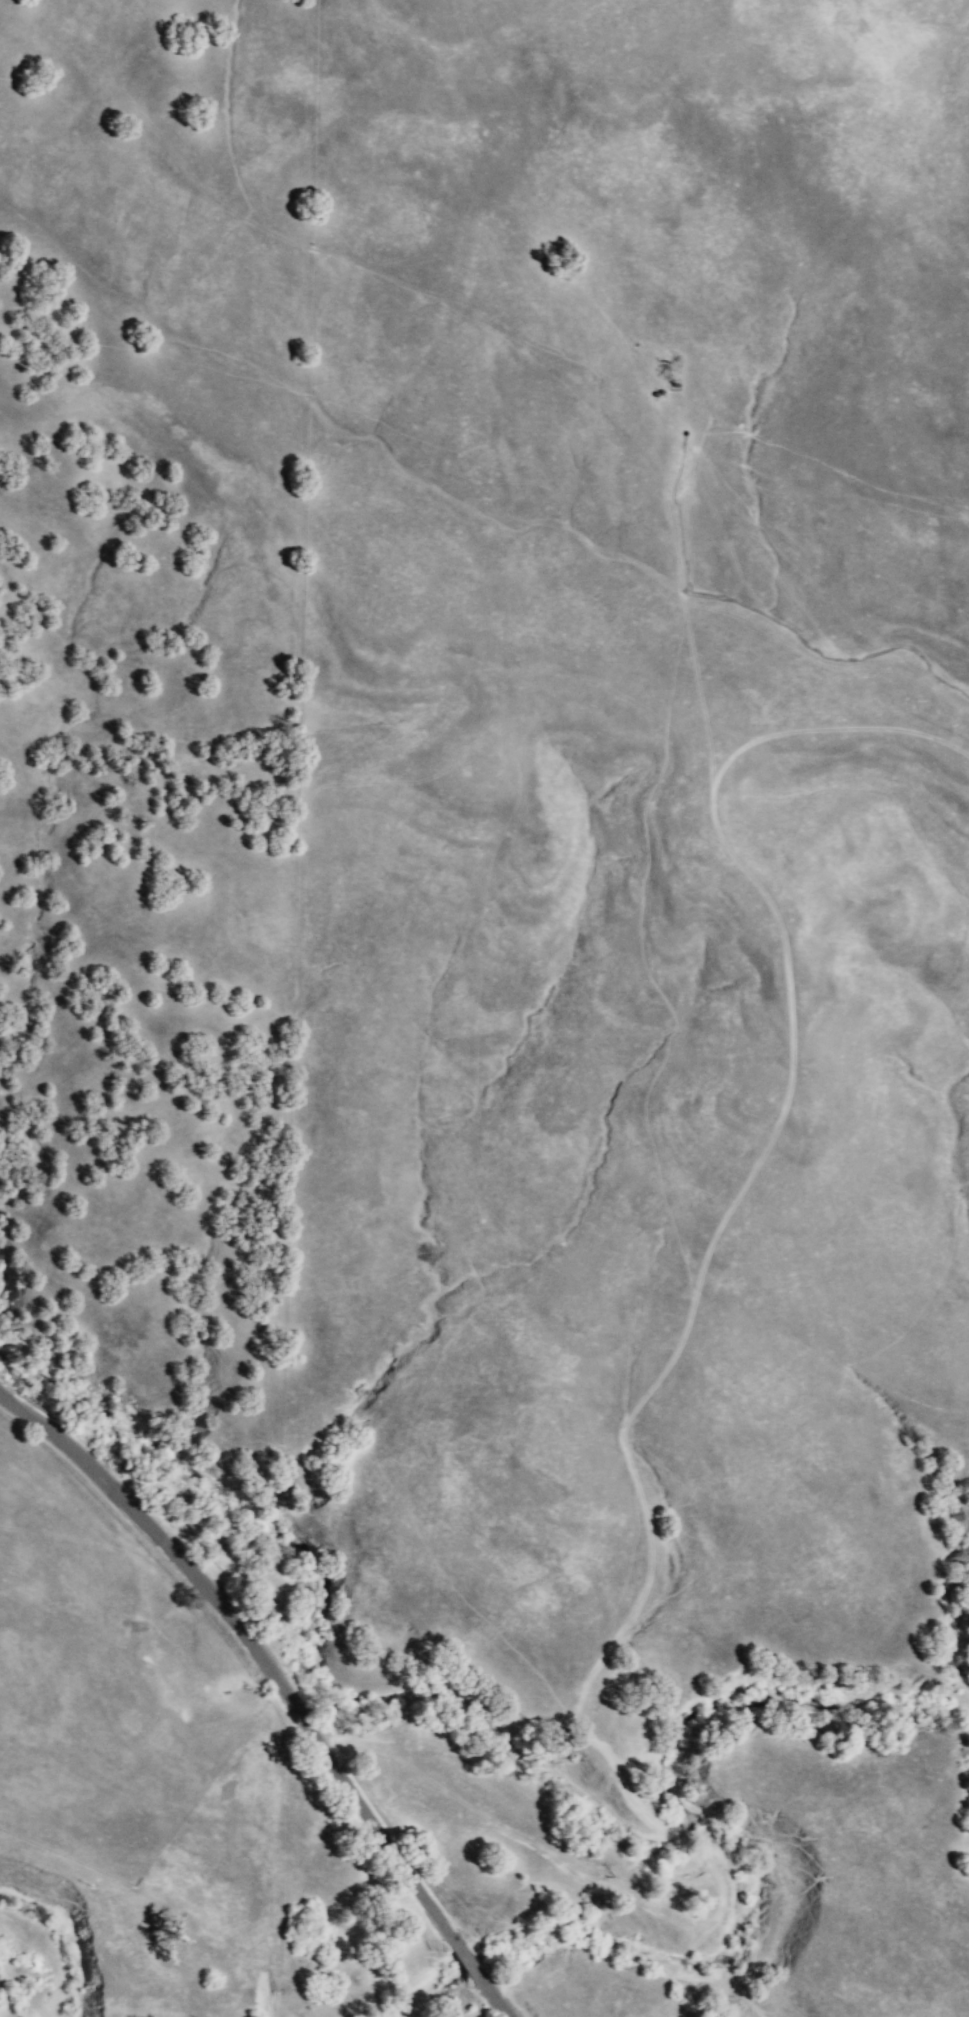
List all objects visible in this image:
road: (875, 729)
road: (251, 1641)
crop: (103, 1675)
river: (481, 1724)
road: (468, 1956)
road: (498, 1998)

